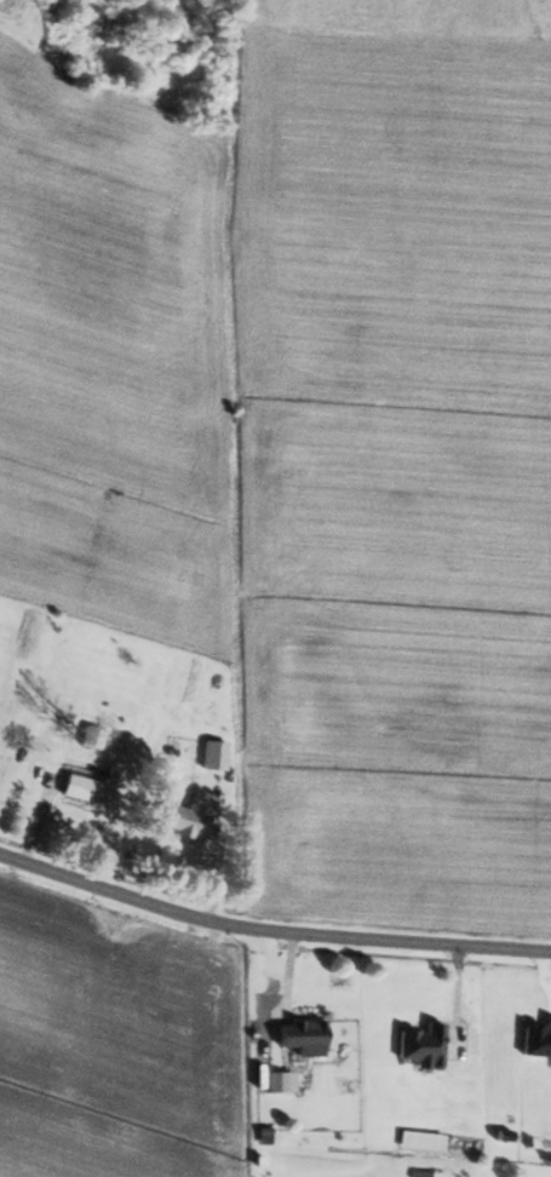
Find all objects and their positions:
building: (87, 735)
building: (210, 753)
building: (82, 788)
building: (184, 820)
road: (270, 936)
building: (297, 1032)
building: (418, 1046)

